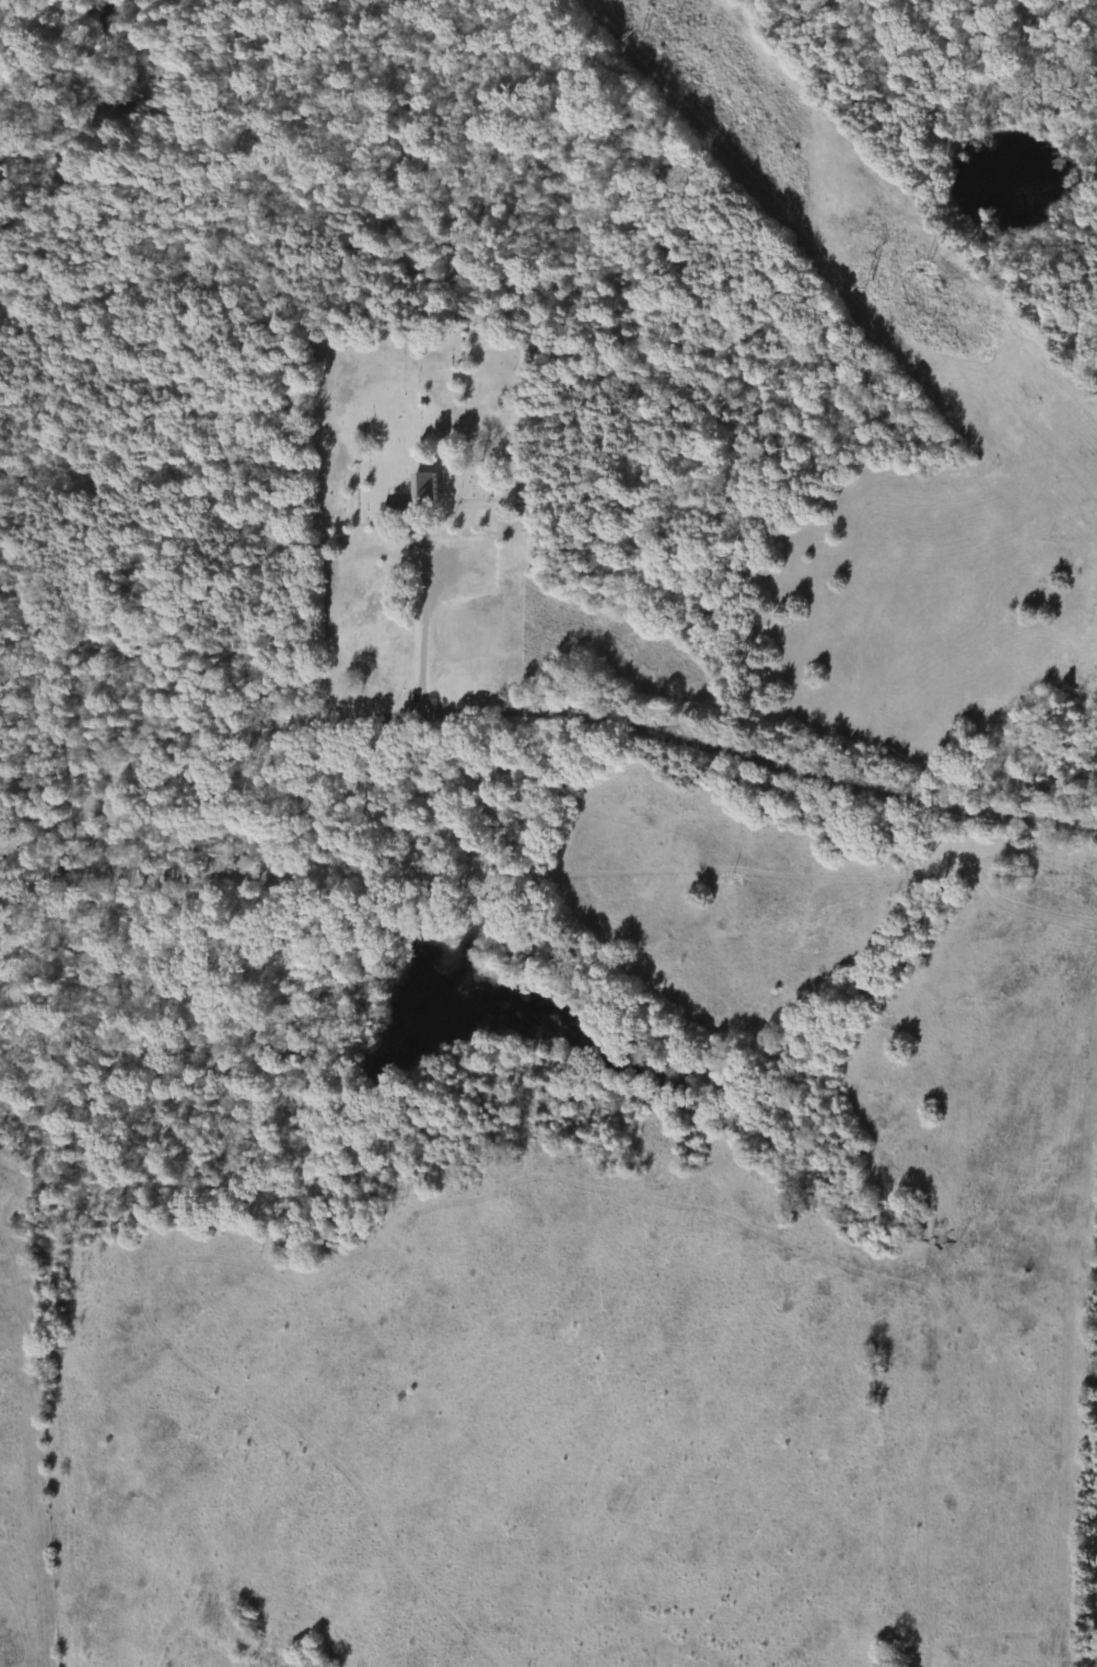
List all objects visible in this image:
power tower: (630, 34)
power tower: (910, 267)
power tower: (854, 287)
park: (416, 431)
road: (529, 735)

